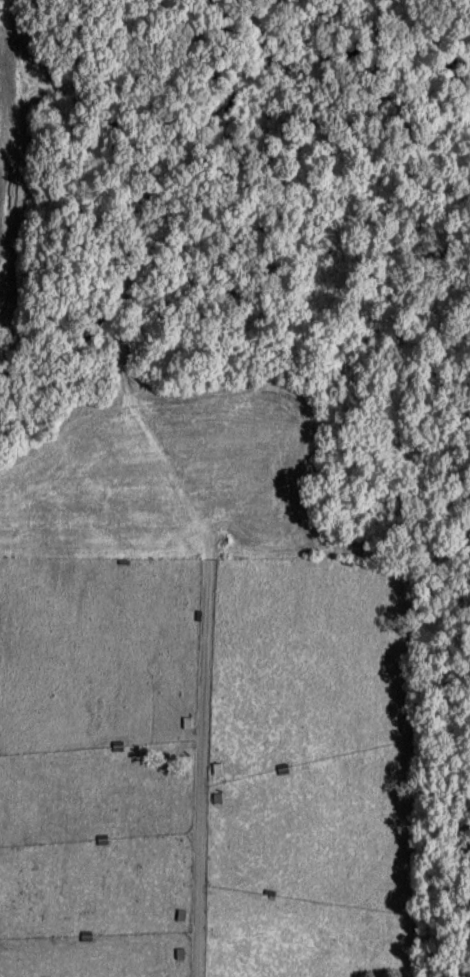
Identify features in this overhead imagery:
road: (198, 779)

